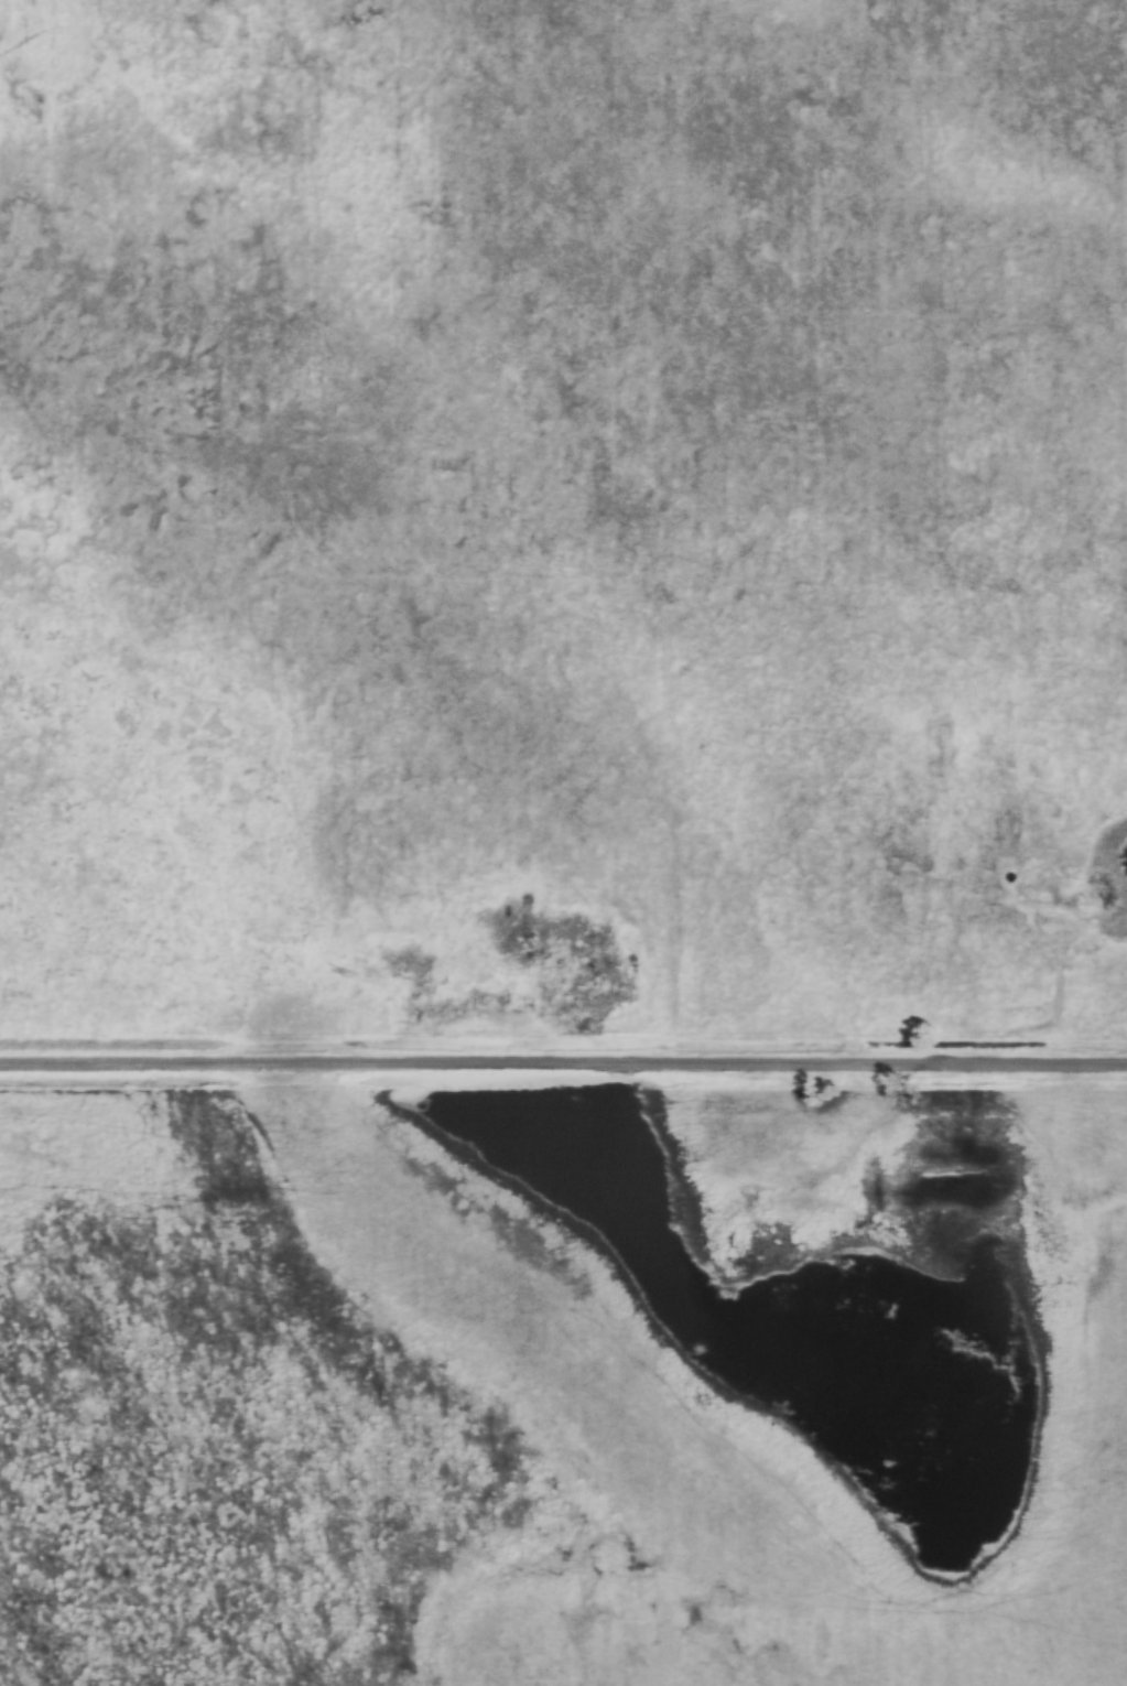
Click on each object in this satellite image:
road: (563, 1068)

